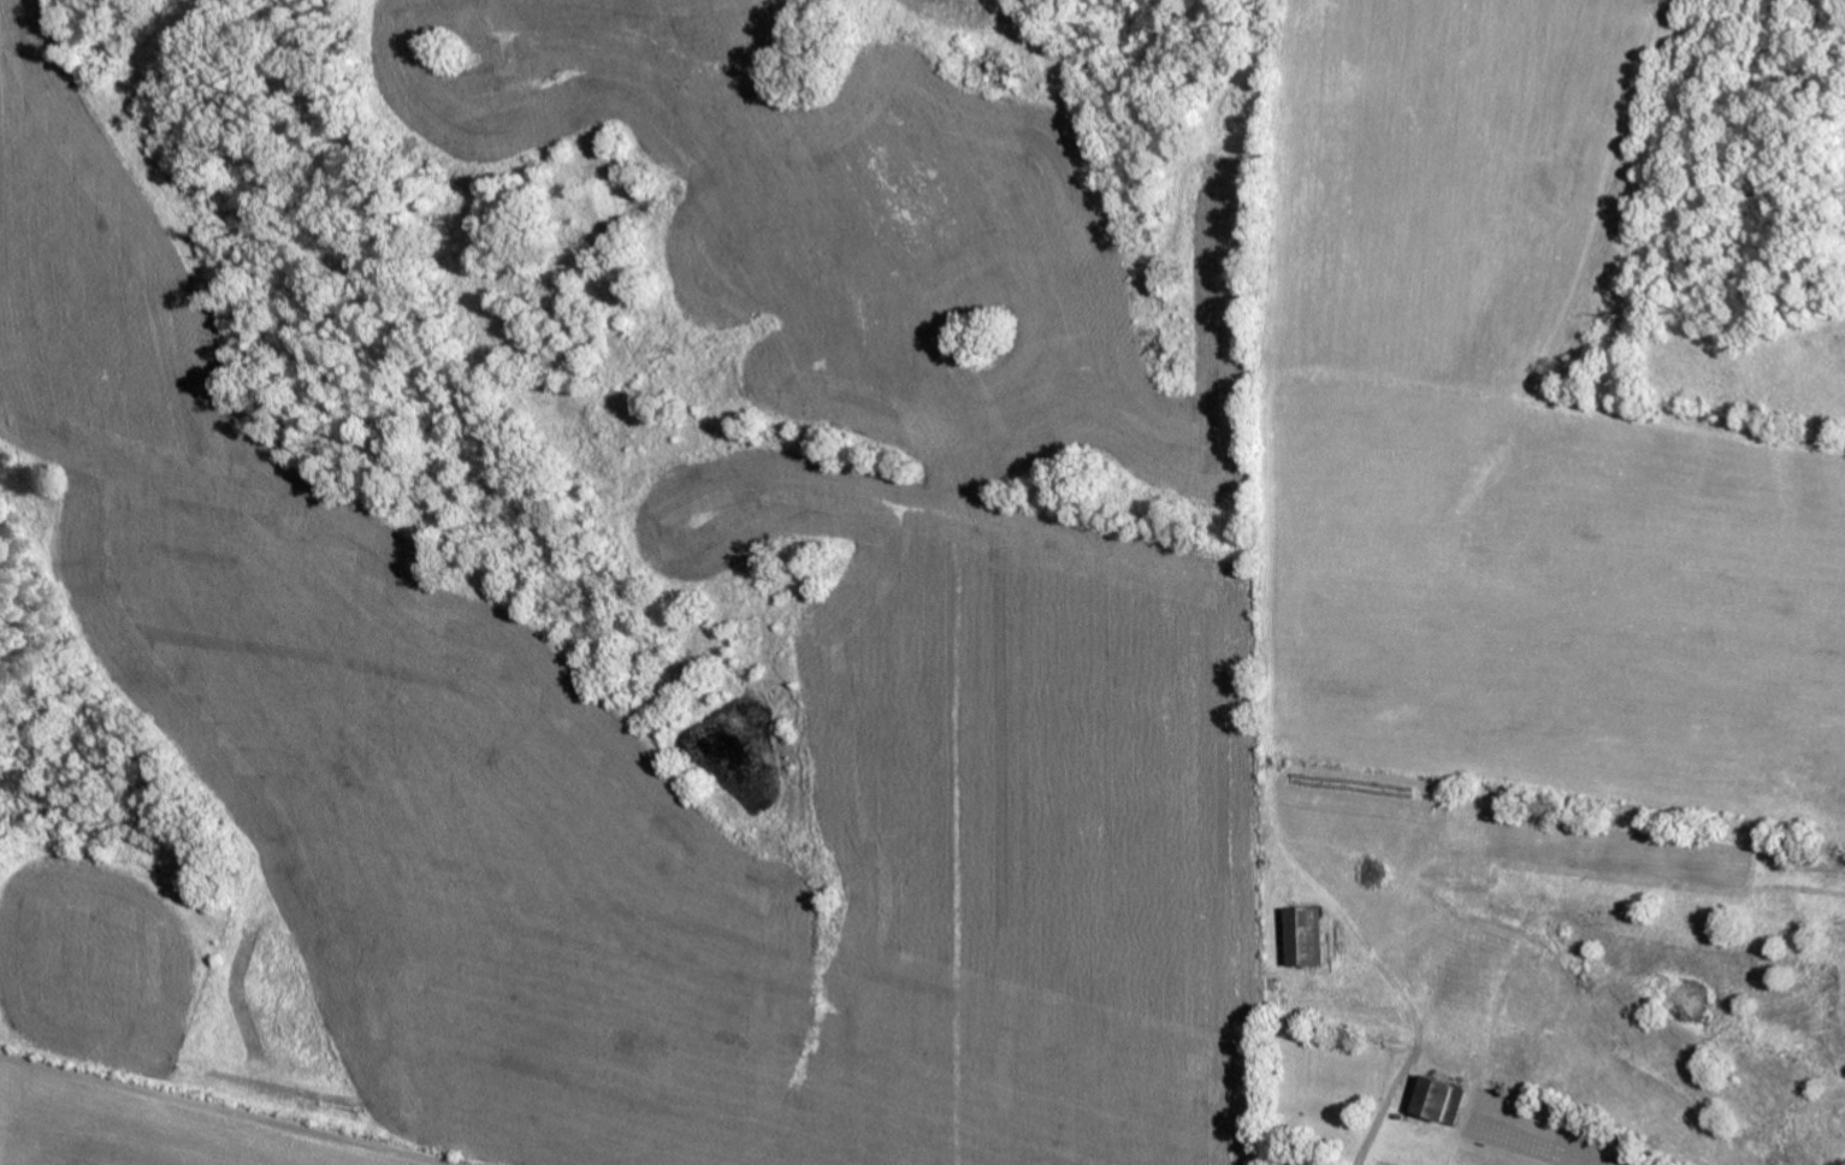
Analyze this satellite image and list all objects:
building: (1299, 933)
building: (1436, 1096)
road: (214, 1113)

